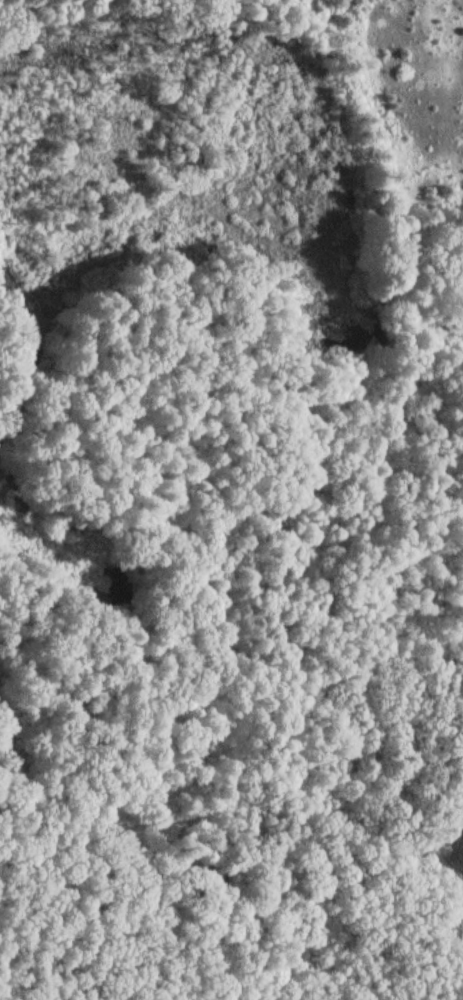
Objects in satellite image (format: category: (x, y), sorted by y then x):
road: (409, 527)

